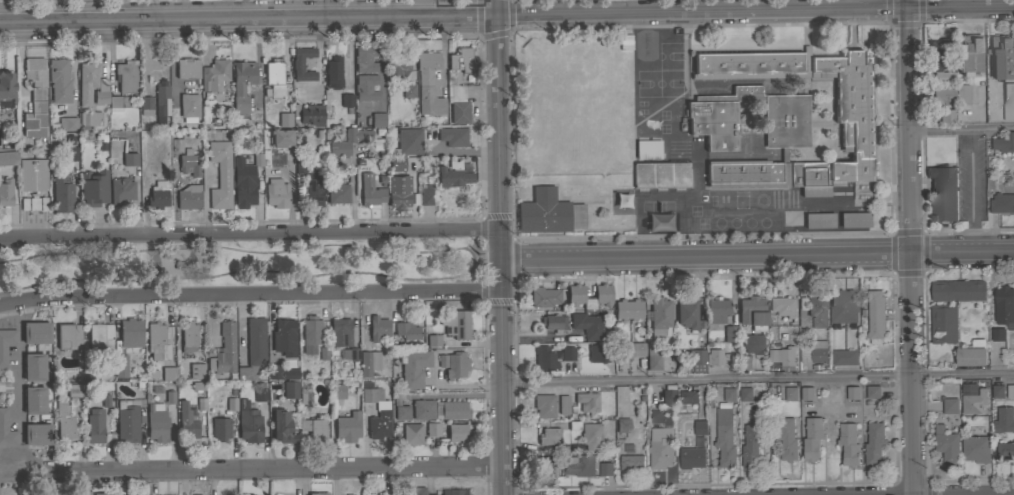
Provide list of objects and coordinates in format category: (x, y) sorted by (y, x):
road: (495, 7)
road: (324, 8)
road: (226, 9)
road: (27, 11)
road: (507, 14)
building: (968, 54)
building: (999, 55)
road: (172, 58)
building: (365, 59)
building: (939, 59)
road: (380, 60)
building: (462, 60)
building: (398, 62)
building: (302, 63)
building: (153, 67)
building: (187, 68)
building: (333, 72)
building: (214, 74)
building: (126, 76)
building: (274, 78)
building: (469, 79)
building: (59, 80)
building: (93, 80)
building: (242, 83)
building: (428, 83)
building: (365, 87)
building: (6, 89)
building: (408, 90)
building: (961, 93)
building: (941, 95)
building: (35, 97)
building: (162, 98)
building: (346, 99)
building: (852, 100)
building: (118, 101)
building: (189, 101)
building: (1008, 101)
building: (458, 104)
building: (145, 105)
building: (270, 112)
building: (311, 114)
building: (946, 117)
building: (90, 119)
building: (378, 119)
building: (282, 120)
building: (65, 124)
road: (961, 129)
building: (453, 136)
building: (281, 137)
building: (786, 140)
building: (409, 141)
building: (345, 142)
building: (1004, 143)
building: (176, 145)
building: (114, 149)
building: (647, 149)
building: (318, 151)
building: (71, 153)
building: (257, 156)
building: (8, 158)
building: (130, 159)
building: (189, 163)
building: (990, 164)
building: (300, 165)
building: (393, 165)
building: (449, 173)
building: (220, 174)
building: (660, 174)
building: (33, 175)
building: (146, 176)
building: (243, 184)
building: (94, 188)
building: (313, 188)
building: (121, 190)
building: (5, 191)
building: (370, 191)
building: (276, 193)
building: (337, 193)
building: (943, 193)
building: (62, 194)
building: (158, 194)
building: (403, 194)
building: (189, 197)
building: (426, 199)
building: (616, 201)
building: (33, 202)
building: (1002, 203)
building: (548, 212)
building: (977, 213)
building: (790, 218)
building: (854, 219)
building: (818, 220)
road: (250, 232)
road: (909, 247)
road: (500, 255)
road: (757, 255)
park: (238, 265)
building: (575, 291)
road: (250, 292)
building: (957, 292)
building: (543, 296)
building: (1004, 304)
building: (781, 305)
building: (843, 306)
building: (628, 308)
building: (717, 310)
building: (817, 310)
road: (10, 312)
building: (752, 312)
building: (687, 313)
building: (659, 315)
building: (875, 316)
building: (554, 322)
building: (943, 323)
building: (456, 324)
building: (587, 324)
building: (378, 327)
building: (406, 330)
building: (35, 332)
building: (130, 332)
building: (340, 332)
building: (701, 332)
building: (730, 333)
building: (310, 334)
building: (998, 334)
building: (67, 336)
building: (284, 336)
building: (101, 337)
building: (154, 339)
building: (188, 340)
building: (433, 340)
building: (6, 343)
building: (754, 344)
building: (253, 347)
building: (224, 349)
building: (631, 349)
building: (598, 351)
building: (324, 353)
building: (567, 353)
building: (815, 353)
building: (343, 355)
building: (783, 356)
building: (844, 357)
building: (971, 357)
building: (544, 358)
building: (653, 358)
building: (714, 358)
building: (696, 361)
building: (368, 362)
building: (745, 362)
building: (453, 364)
building: (33, 366)
building: (120, 366)
building: (413, 368)
building: (196, 371)
building: (281, 372)
building: (168, 373)
road: (758, 378)
road: (19, 379)
building: (290, 389)
building: (74, 390)
building: (260, 391)
building: (338, 391)
building: (1009, 392)
building: (871, 393)
building: (996, 393)
building: (668, 394)
building: (805, 394)
building: (850, 394)
building: (743, 395)
building: (789, 395)
building: (728, 396)
building: (305, 398)
building: (34, 400)
building: (686, 400)
building: (102, 401)
building: (586, 402)
building: (231, 403)
building: (562, 404)
building: (972, 404)
building: (543, 406)
building: (949, 407)
building: (423, 409)
building: (451, 409)
building: (382, 410)
building: (401, 412)
building: (128, 419)
building: (64, 421)
building: (187, 421)
building: (1002, 421)
building: (248, 422)
building: (156, 423)
building: (572, 425)
building: (622, 425)
building: (347, 426)
building: (282, 427)
building: (313, 427)
building: (700, 427)
building: (94, 428)
building: (220, 428)
building: (432, 429)
building: (6, 430)
building: (457, 432)
building: (411, 433)
building: (37, 434)
building: (549, 436)
building: (590, 436)
building: (723, 439)
building: (785, 440)
building: (811, 440)
building: (872, 445)
building: (847, 446)
building: (945, 446)
building: (750, 447)
building: (575, 448)
building: (660, 448)
building: (975, 450)
building: (1005, 452)
building: (690, 458)
building: (632, 462)
road: (252, 464)
building: (579, 465)
building: (546, 468)
building: (605, 469)
building: (414, 491)
building: (453, 491)
building: (102, 493)
building: (385, 493)
building: (251, 494)
building: (317, 494)
building: (349, 494)

